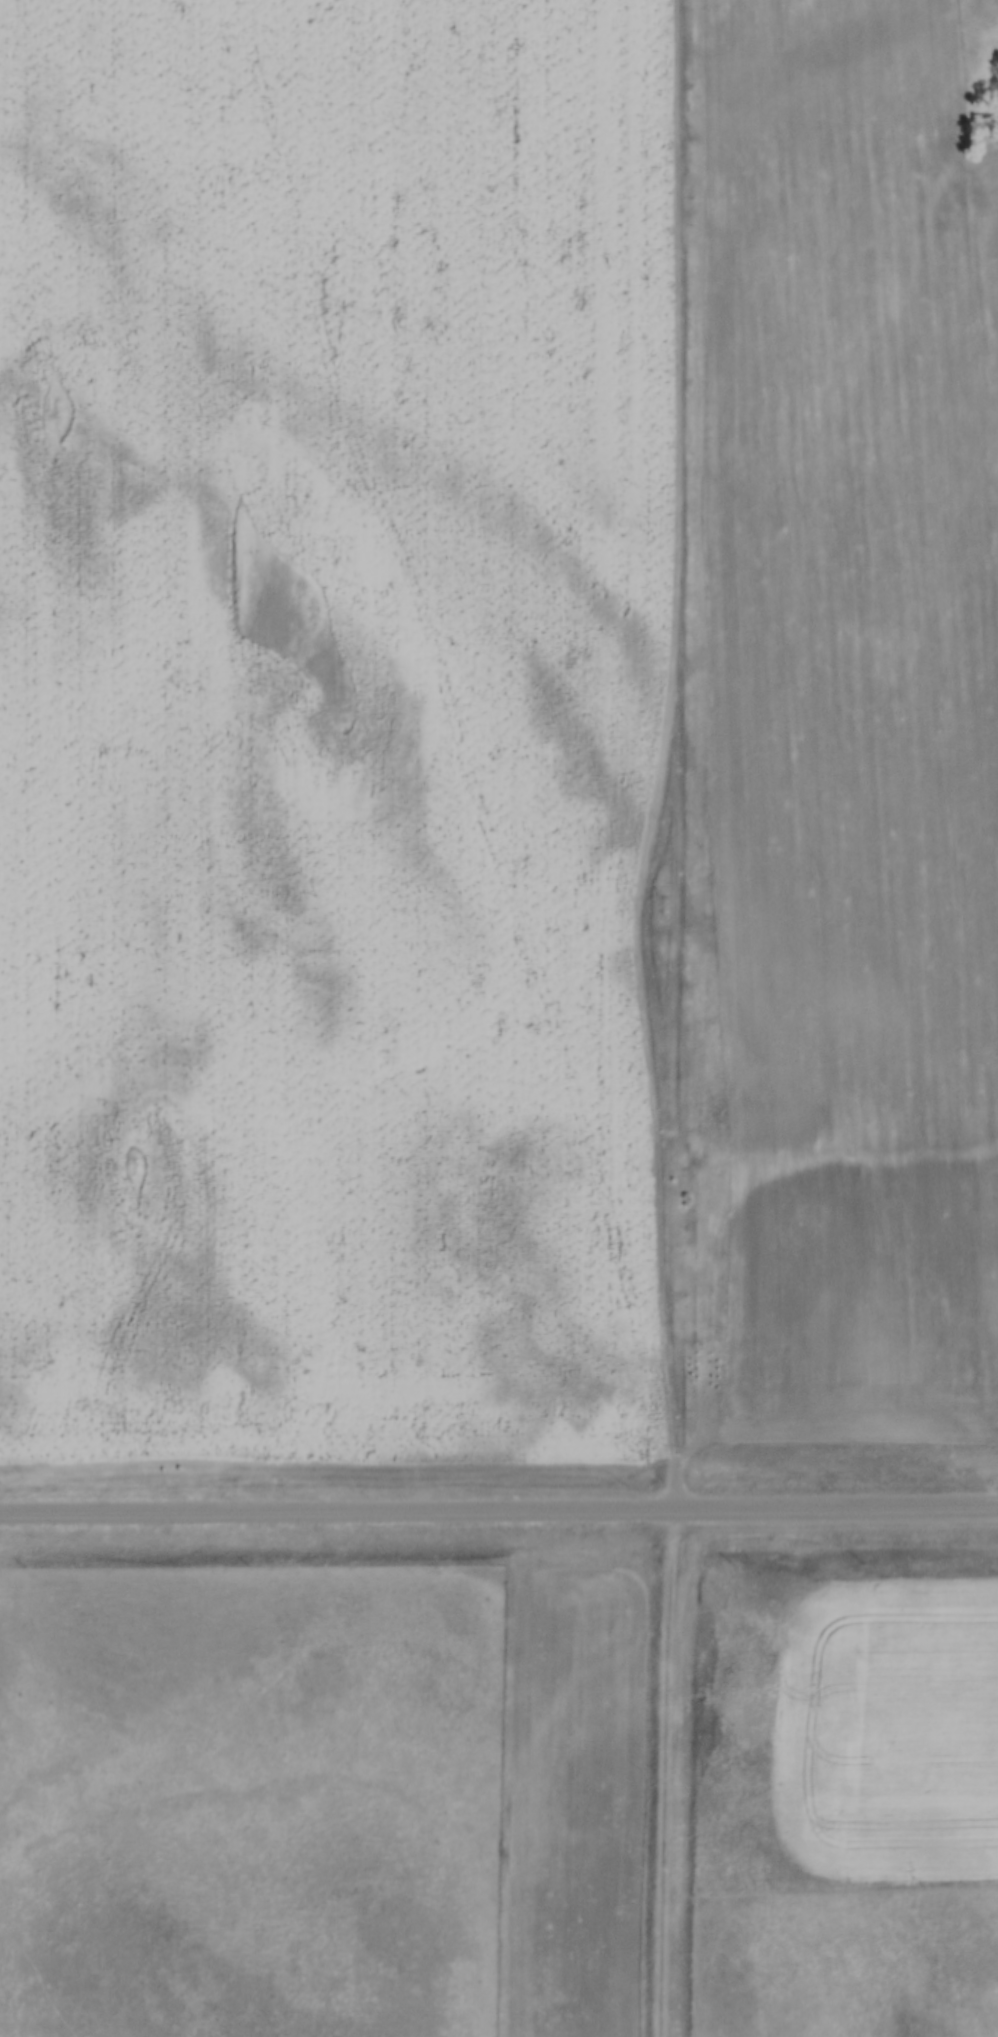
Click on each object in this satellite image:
road: (661, 1016)
road: (499, 1499)

